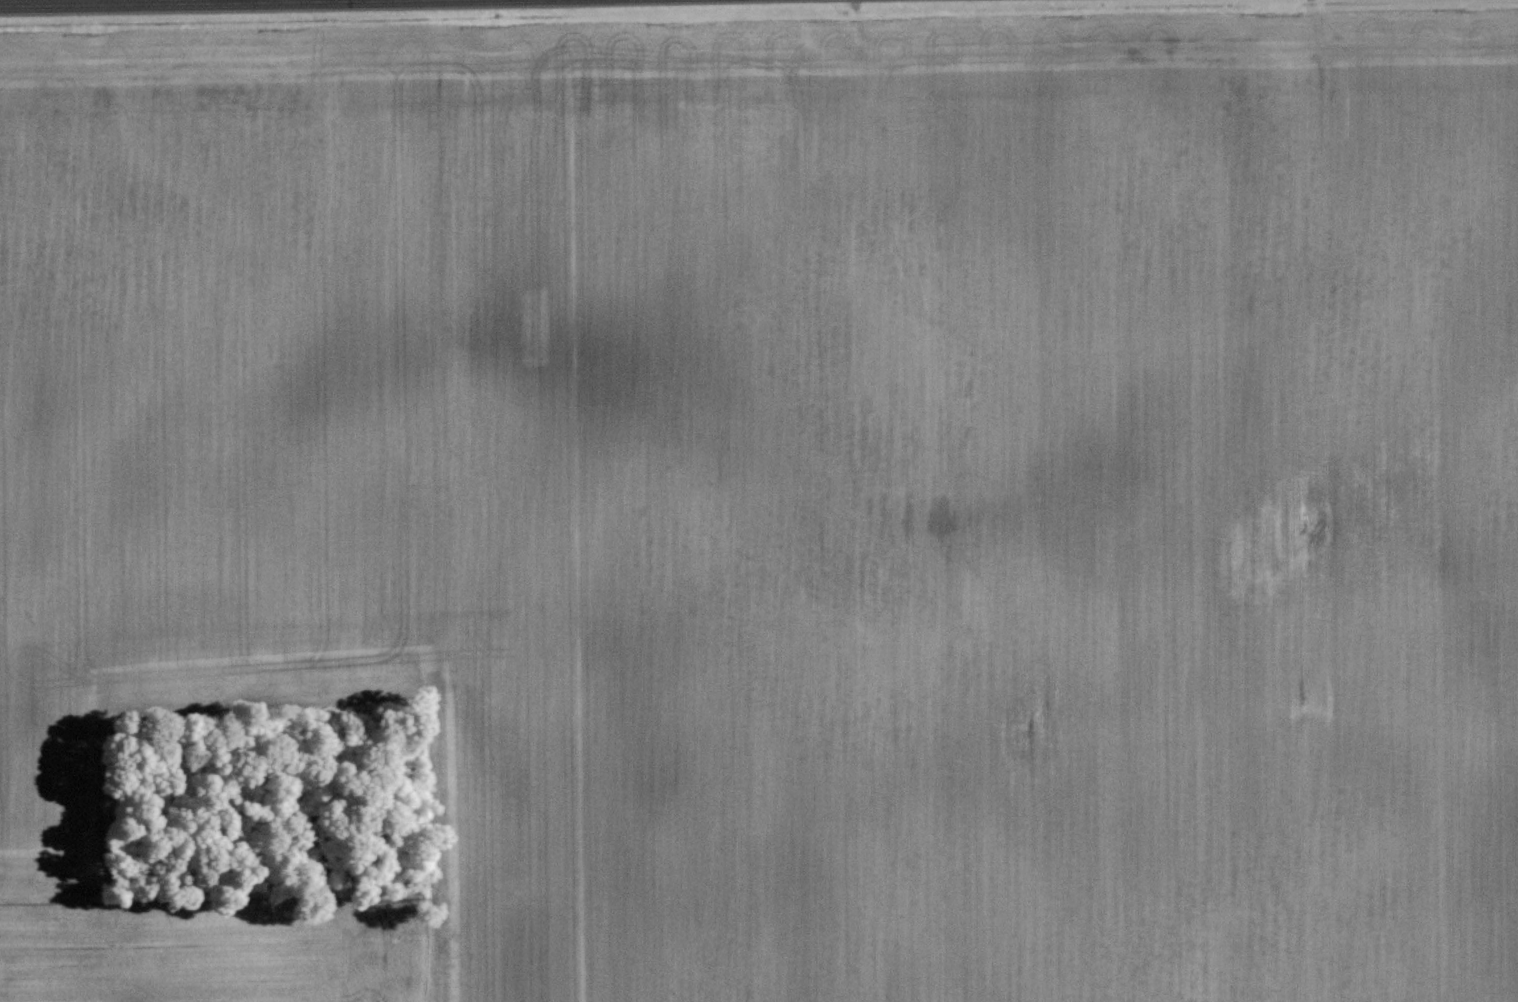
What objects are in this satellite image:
road: (90, 1)

